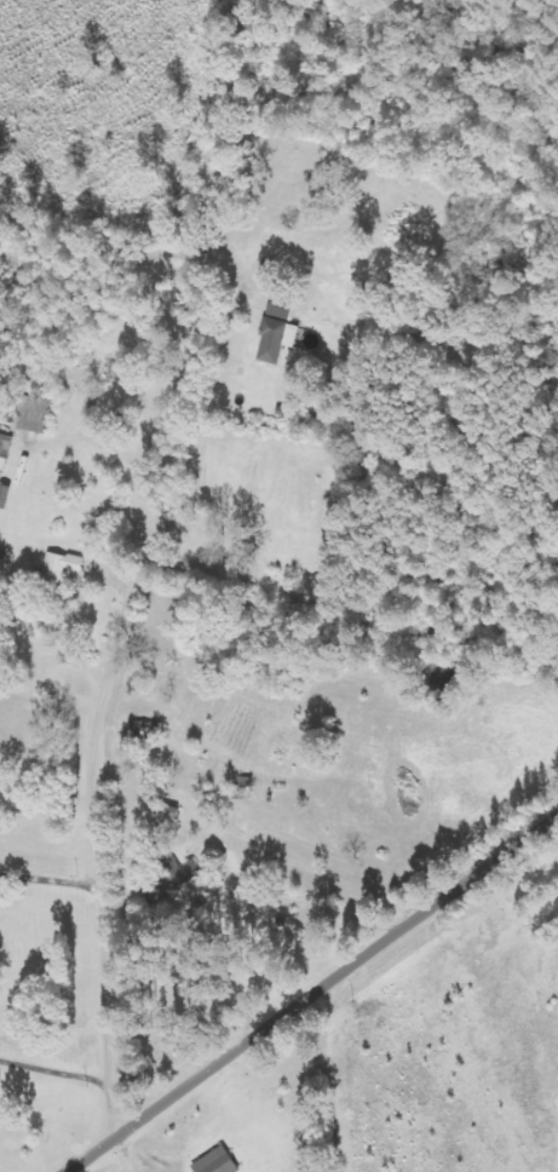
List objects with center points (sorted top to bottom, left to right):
building: (281, 334)
building: (42, 409)
building: (64, 569)
road: (50, 746)
road: (104, 825)
road: (56, 950)
road: (304, 993)
building: (220, 1162)

